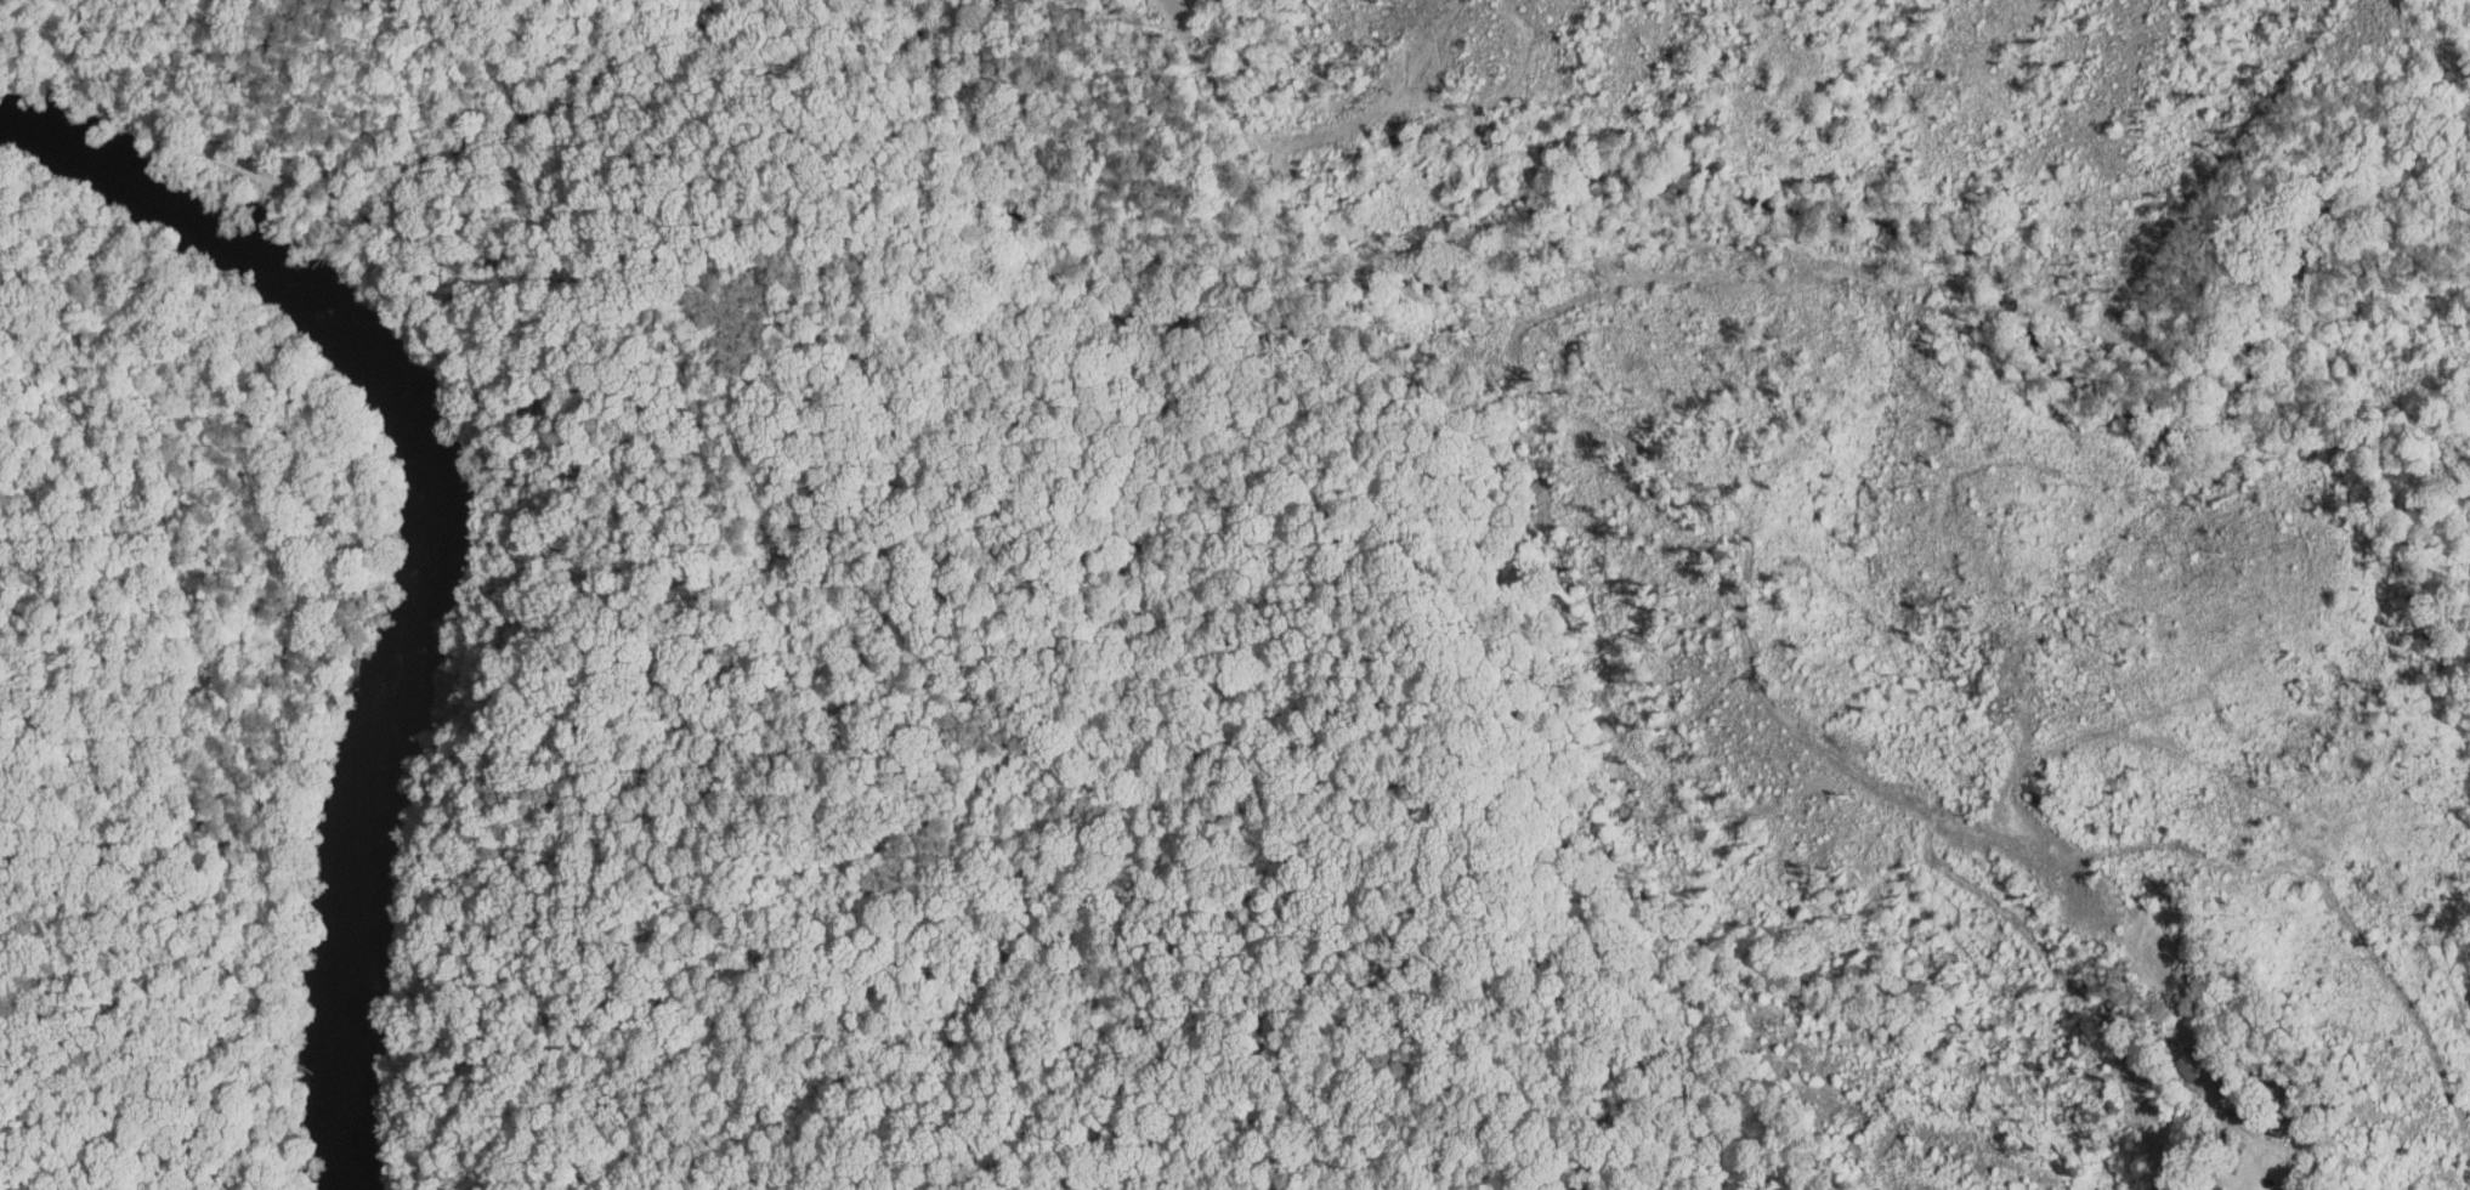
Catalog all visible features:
river: (164, 183)
river: (420, 555)
river: (336, 1015)
building: (2169, 1061)

